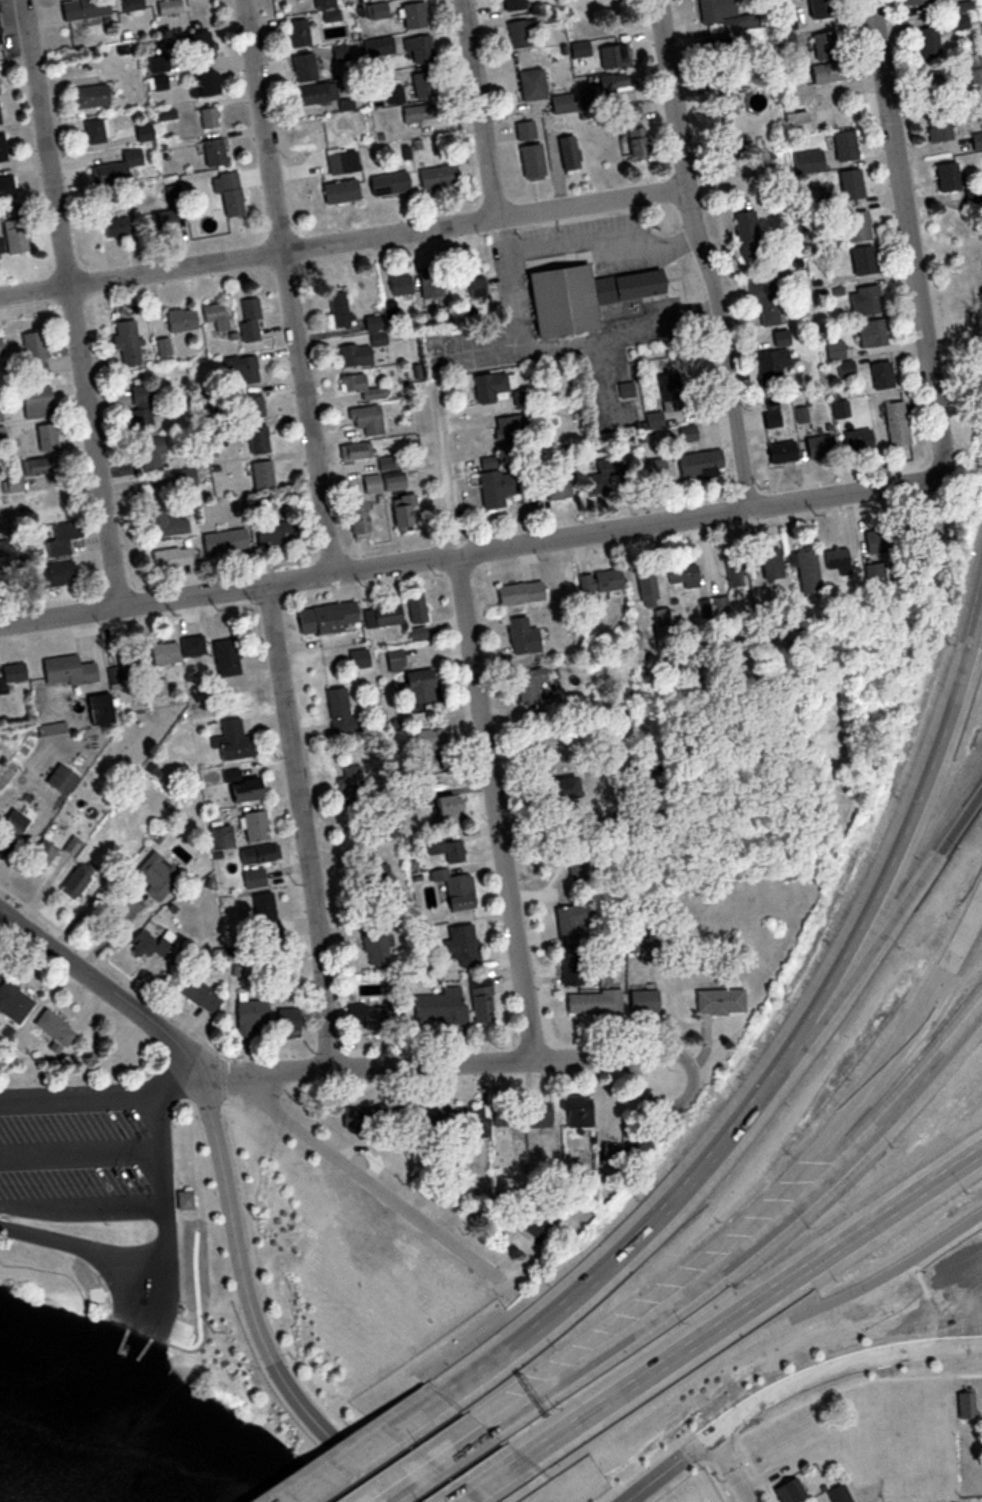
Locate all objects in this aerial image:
building: (189, 0)
building: (919, 3)
building: (326, 4)
building: (134, 6)
building: (515, 6)
building: (170, 10)
building: (821, 10)
building: (86, 11)
building: (726, 15)
building: (415, 18)
building: (958, 27)
building: (300, 36)
building: (1, 37)
building: (524, 37)
building: (931, 45)
building: (201, 49)
building: (827, 49)
building: (420, 52)
building: (615, 59)
building: (306, 70)
building: (832, 74)
building: (977, 79)
building: (204, 87)
building: (533, 87)
building: (425, 88)
building: (603, 91)
building: (0, 96)
building: (319, 96)
building: (396, 96)
building: (92, 99)
building: (565, 106)
road: (483, 109)
building: (421, 116)
building: (1, 117)
building: (210, 120)
building: (798, 124)
building: (939, 129)
building: (527, 133)
building: (98, 134)
building: (634, 134)
building: (146, 136)
building: (978, 144)
building: (847, 147)
building: (3, 149)
building: (566, 149)
building: (214, 153)
building: (531, 163)
building: (108, 173)
building: (436, 176)
building: (945, 176)
building: (387, 182)
building: (849, 183)
building: (5, 186)
building: (338, 190)
building: (228, 193)
building: (162, 220)
building: (855, 225)
building: (114, 226)
building: (15, 236)
road: (910, 237)
road: (344, 242)
building: (0, 244)
road: (704, 254)
building: (860, 259)
building: (399, 284)
road: (290, 285)
building: (475, 286)
building: (432, 293)
building: (577, 295)
building: (763, 298)
building: (867, 299)
road: (73, 302)
building: (390, 309)
building: (340, 310)
building: (215, 316)
building: (249, 317)
building: (180, 319)
building: (373, 322)
building: (869, 333)
building: (778, 338)
building: (377, 339)
building: (125, 341)
building: (163, 346)
building: (32, 353)
building: (0, 355)
building: (354, 355)
building: (771, 360)
building: (242, 368)
building: (880, 375)
building: (358, 386)
building: (491, 386)
building: (27, 404)
building: (250, 406)
building: (140, 409)
building: (365, 419)
building: (652, 420)
building: (894, 424)
building: (510, 431)
building: (683, 433)
building: (41, 434)
building: (2, 435)
building: (252, 437)
building: (856, 440)
building: (817, 446)
building: (353, 451)
building: (149, 452)
building: (779, 452)
building: (386, 463)
building: (698, 463)
building: (32, 471)
building: (652, 471)
building: (603, 473)
building: (261, 474)
building: (184, 478)
building: (496, 481)
building: (381, 483)
building: (556, 483)
building: (399, 510)
building: (355, 519)
building: (163, 524)
building: (273, 533)
building: (916, 537)
building: (60, 541)
building: (223, 541)
building: (877, 543)
road: (471, 551)
building: (169, 558)
building: (837, 561)
building: (769, 565)
building: (804, 570)
building: (52, 574)
building: (683, 575)
building: (735, 575)
building: (598, 581)
building: (646, 585)
building: (519, 593)
building: (415, 606)
building: (382, 615)
building: (325, 617)
building: (521, 636)
building: (161, 653)
building: (129, 657)
building: (224, 657)
building: (358, 658)
building: (393, 660)
building: (66, 670)
building: (14, 673)
building: (528, 683)
building: (417, 686)
building: (340, 712)
road: (483, 723)
building: (232, 741)
building: (429, 746)
building: (640, 773)
building: (60, 780)
building: (239, 787)
building: (557, 788)
building: (356, 793)
building: (443, 805)
building: (16, 824)
road: (306, 824)
building: (254, 826)
road: (904, 838)
building: (444, 848)
building: (257, 855)
building: (37, 856)
building: (574, 858)
building: (154, 876)
building: (376, 876)
building: (253, 878)
building: (75, 880)
building: (454, 892)
building: (262, 917)
road: (886, 920)
building: (573, 922)
building: (373, 941)
building: (150, 944)
building: (461, 946)
building: (570, 968)
building: (197, 994)
building: (480, 999)
building: (12, 1002)
building: (718, 1002)
building: (640, 1003)
building: (592, 1004)
building: (438, 1007)
building: (369, 1015)
building: (264, 1020)
building: (52, 1028)
road: (440, 1062)
road: (181, 1075)
road: (253, 1094)
road: (80, 1095)
road: (675, 1106)
building: (577, 1111)
building: (507, 1115)
building: (539, 1116)
building: (368, 1117)
building: (474, 1118)
building: (439, 1120)
building: (641, 1144)
road: (81, 1151)
building: (186, 1199)
road: (82, 1205)
building: (525, 1219)
road: (752, 1241)
road: (157, 1250)
road: (644, 1252)
road: (249, 1293)
road: (141, 1307)
road: (751, 1307)
road: (840, 1367)
building: (964, 1403)
river: (82, 1447)
road: (385, 1454)
road: (431, 1465)
road: (669, 1467)
road: (732, 1467)
road: (485, 1479)
building: (787, 1490)
road: (395, 1494)
building: (837, 1494)
park: (6, 1499)

